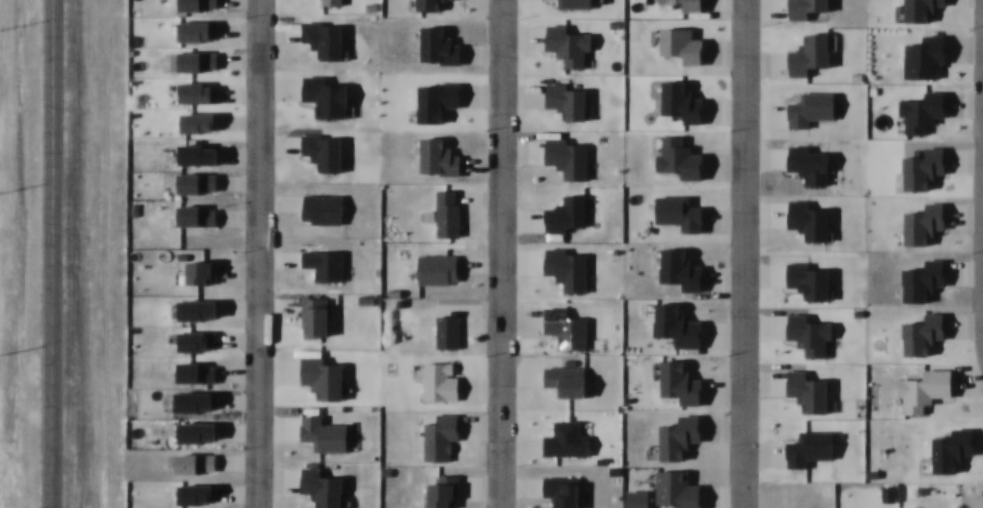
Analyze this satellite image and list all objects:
road: (979, 175)
road: (51, 253)
road: (246, 254)
road: (490, 254)
road: (732, 254)

